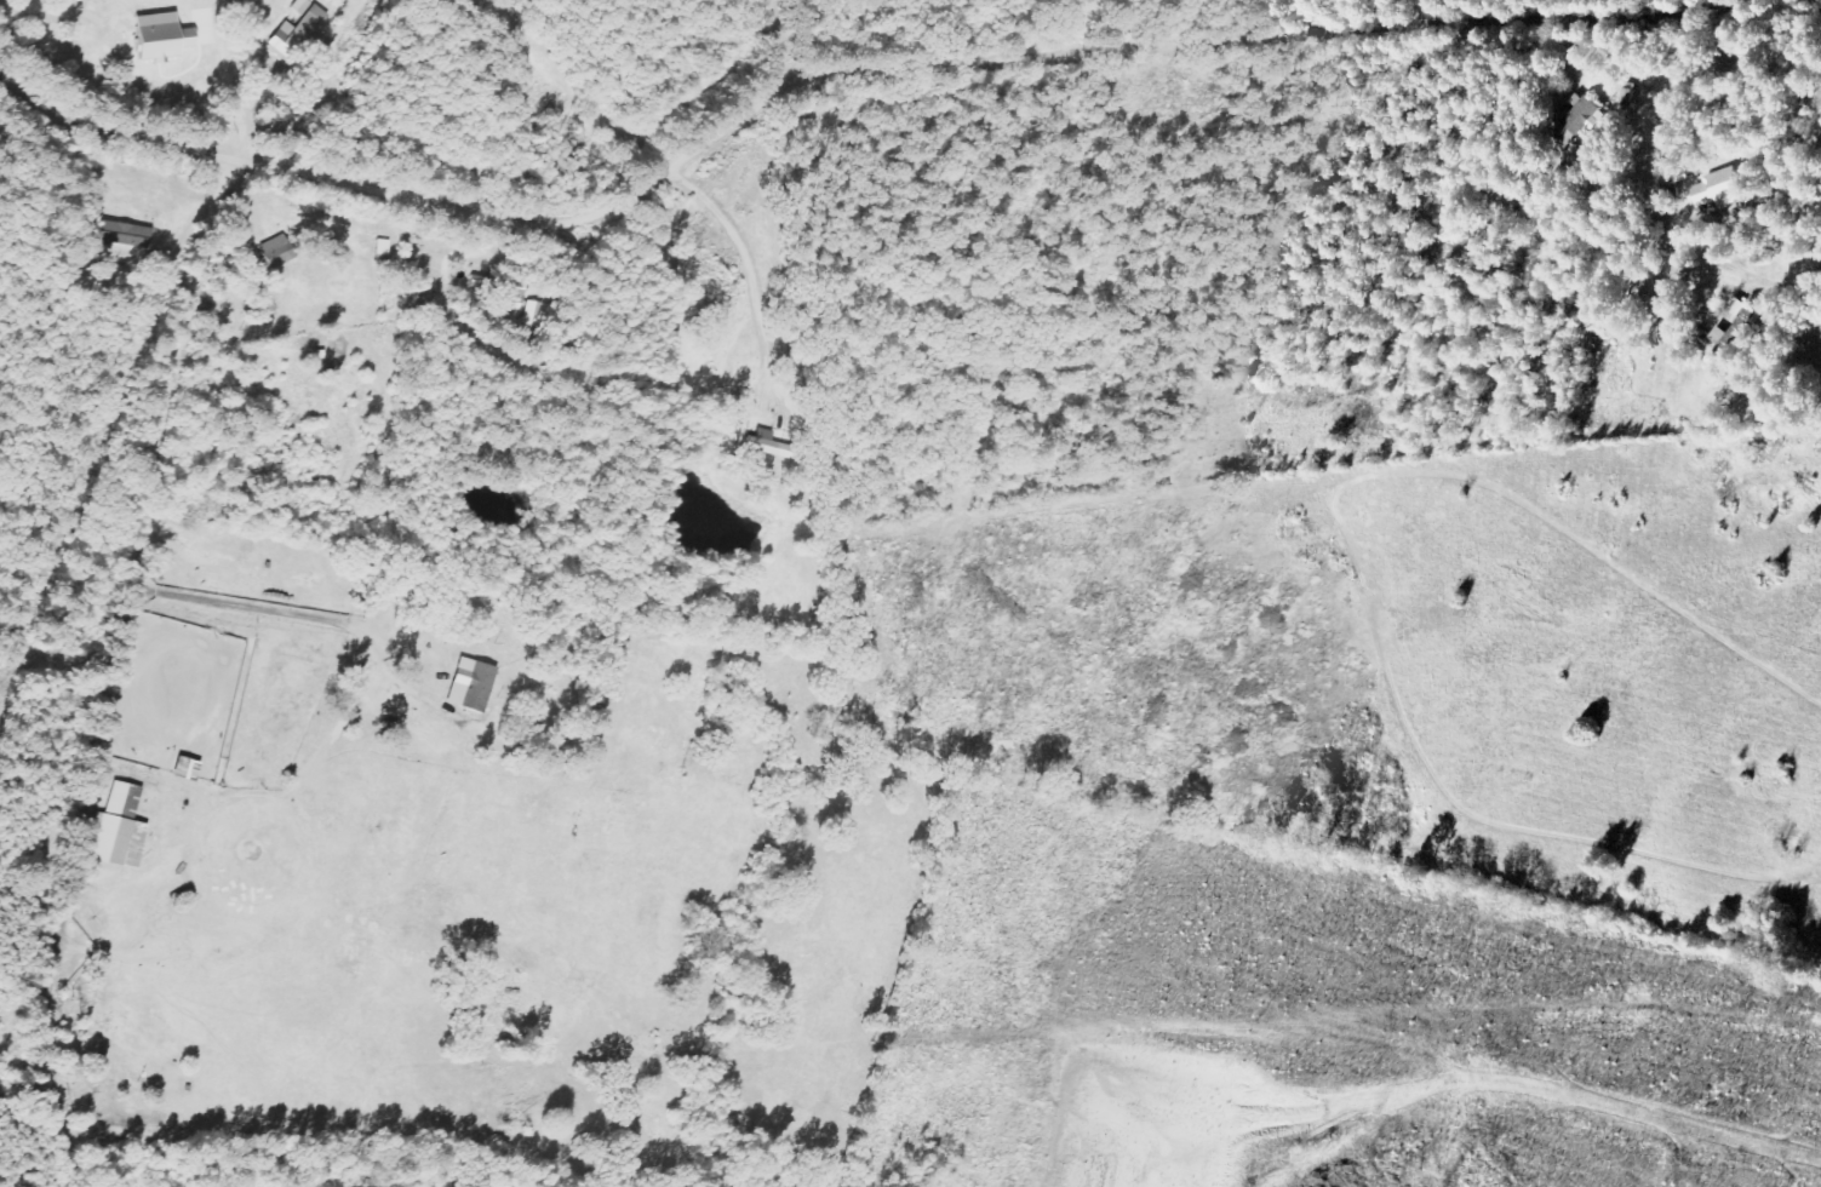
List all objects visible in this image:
building: (302, 35)
road: (806, 56)
road: (1300, 65)
building: (1586, 113)
road: (118, 133)
building: (1570, 134)
building: (1725, 188)
road: (540, 208)
building: (134, 235)
building: (282, 253)
building: (517, 291)
building: (1741, 327)
building: (777, 445)
building: (485, 687)
road: (145, 692)
building: (126, 828)

